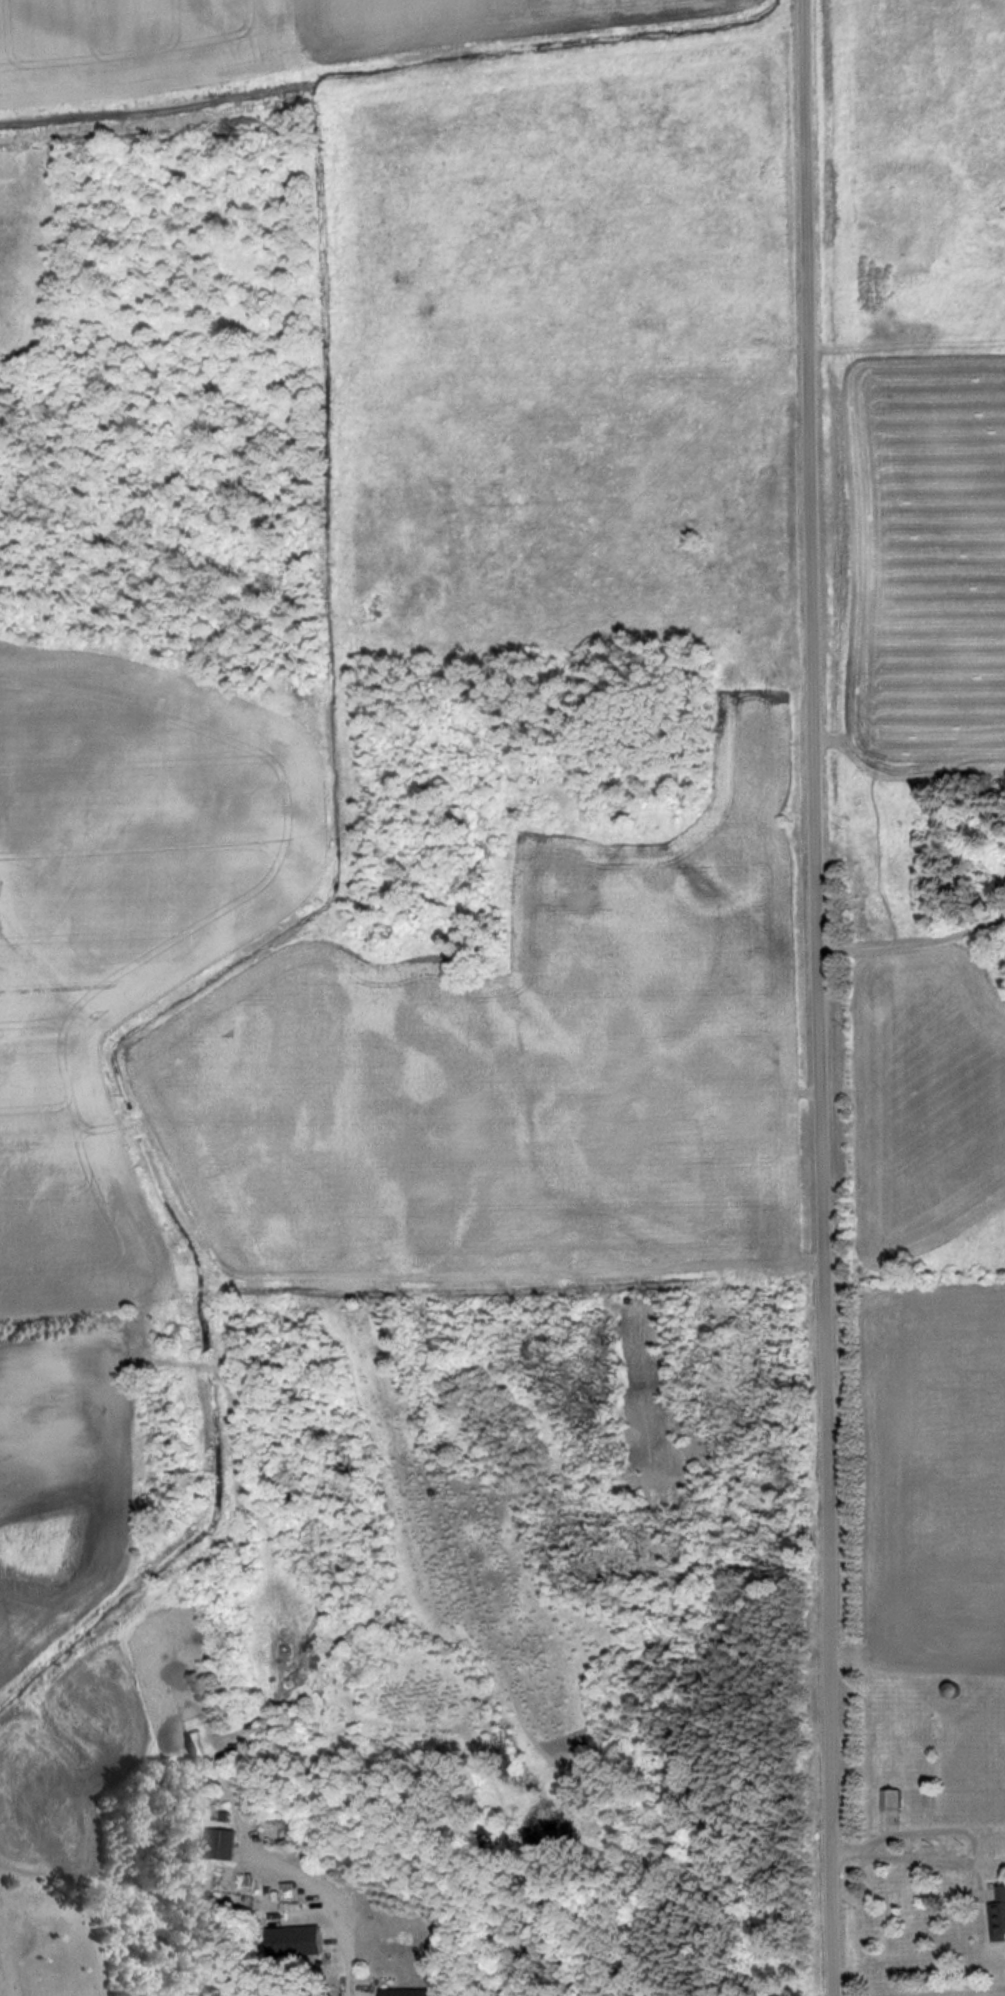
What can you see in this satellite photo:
road: (816, 998)
building: (197, 1747)
building: (241, 1752)
building: (898, 1801)
building: (225, 1845)
building: (1002, 1923)
building: (302, 1942)
building: (418, 1992)

